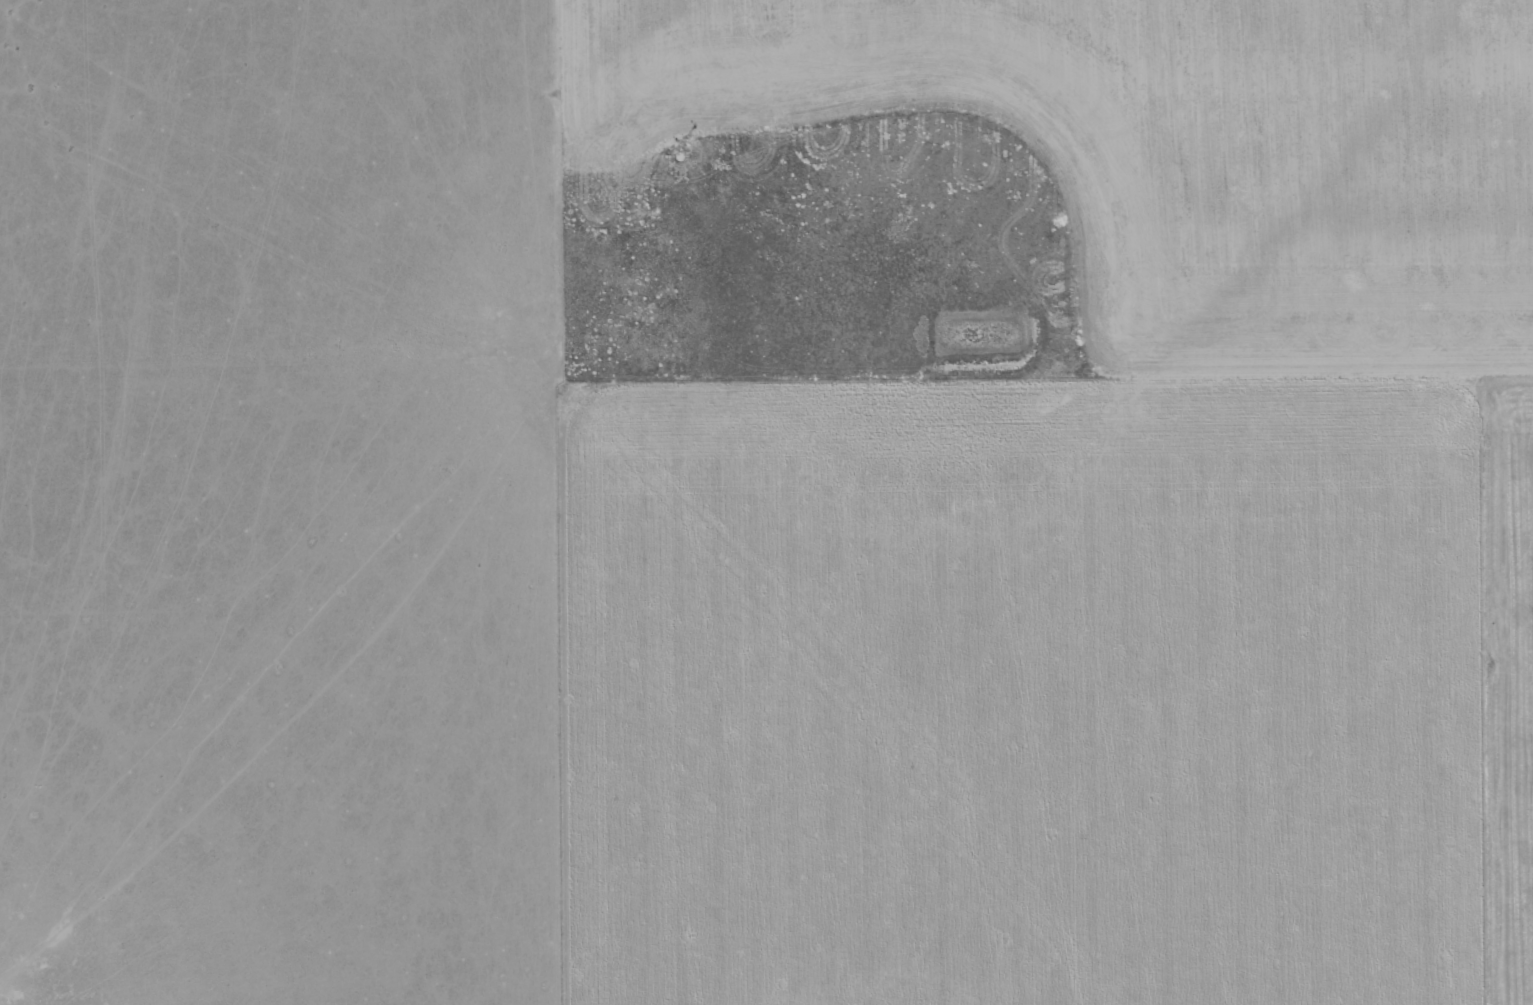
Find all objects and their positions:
road: (21, 44)

